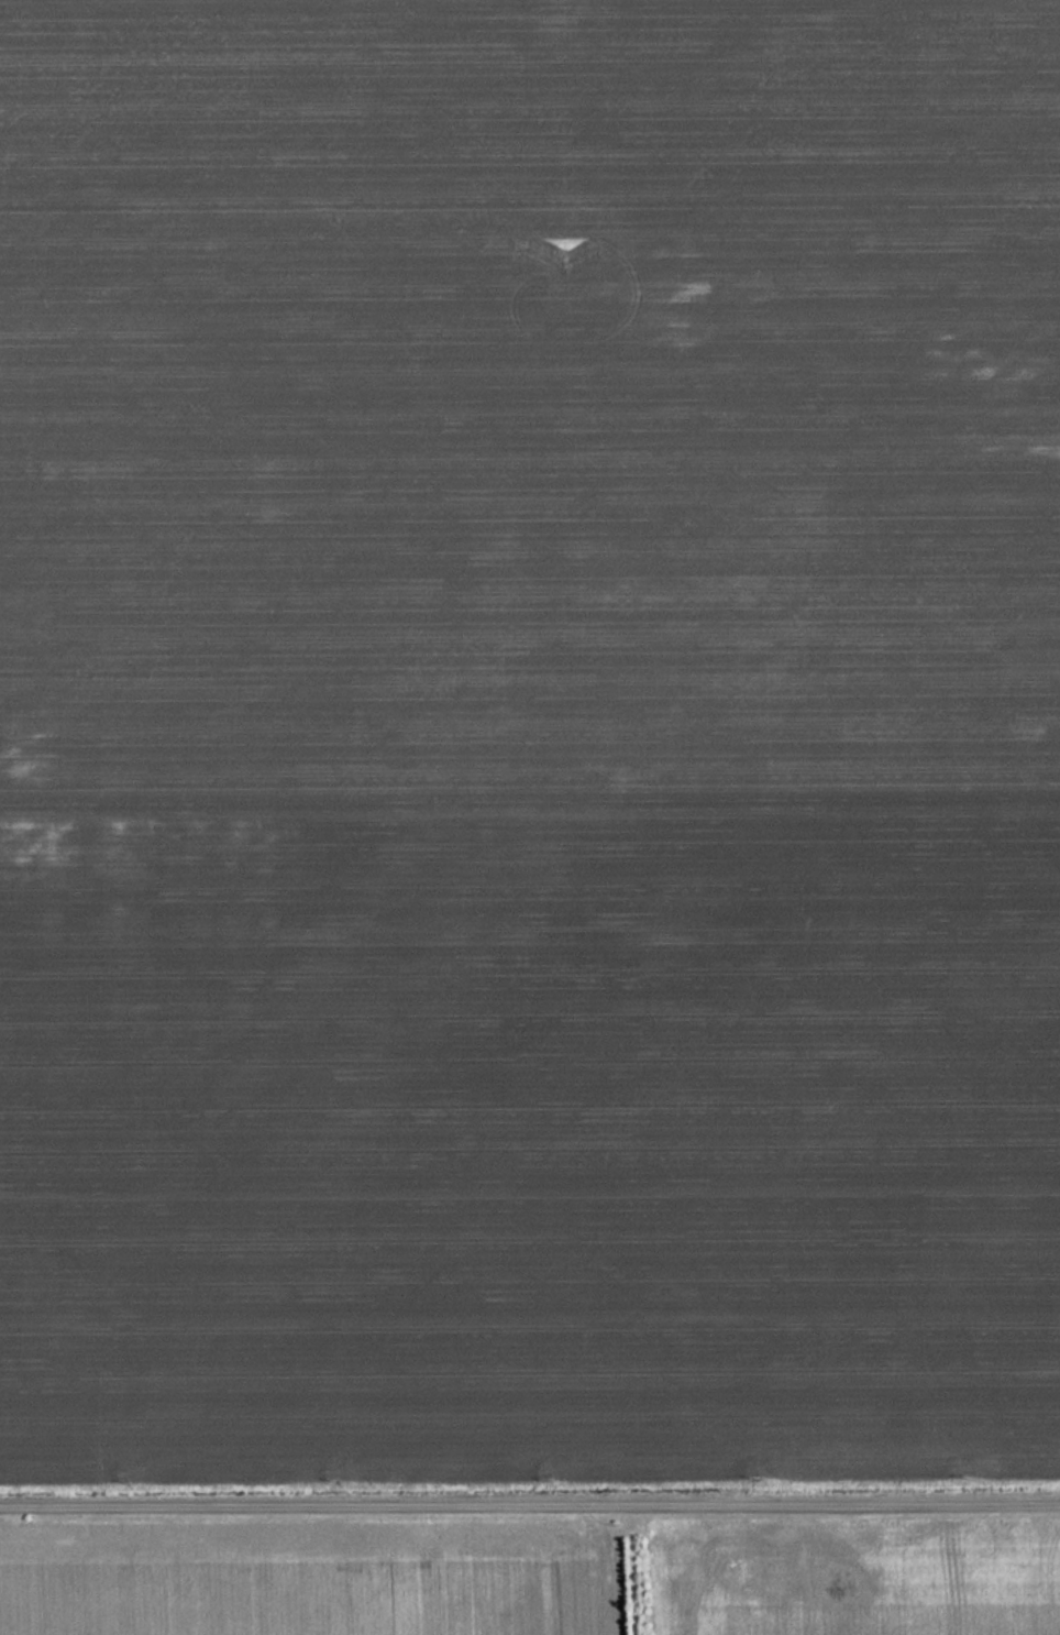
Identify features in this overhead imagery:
crop: (529, 739)
road: (530, 1497)
crop: (854, 1577)
crop: (310, 1580)

